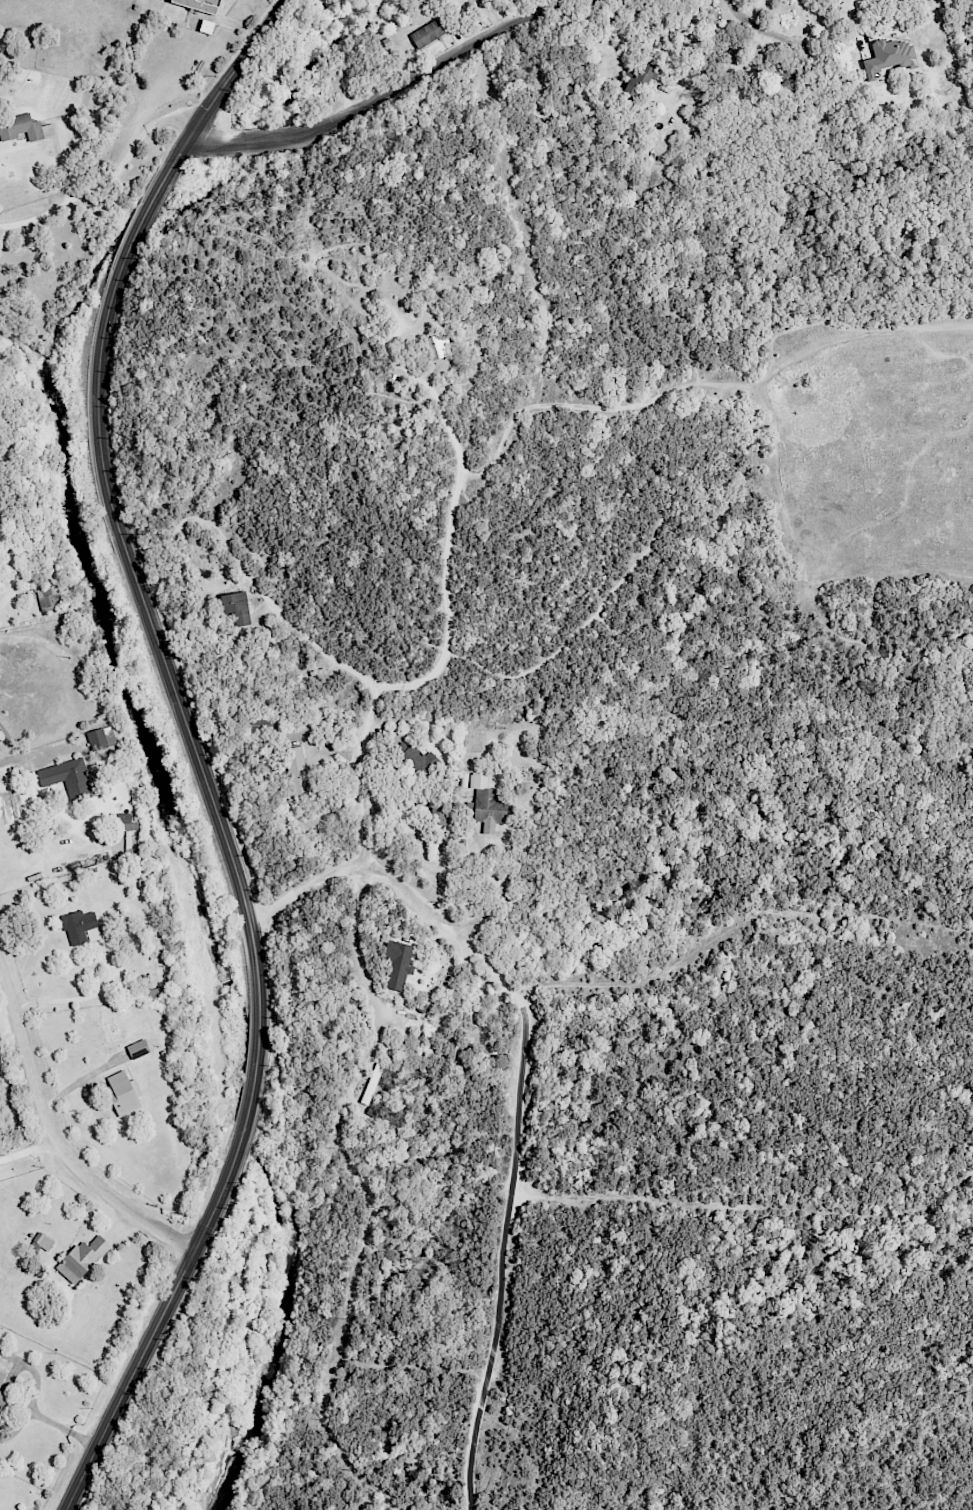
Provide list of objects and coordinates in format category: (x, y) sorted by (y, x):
building: (903, 2)
building: (199, 5)
road: (859, 24)
building: (206, 26)
building: (426, 34)
road: (705, 56)
building: (889, 59)
road: (440, 62)
building: (784, 78)
building: (638, 80)
road: (219, 91)
building: (24, 128)
road: (266, 139)
road: (208, 143)
road: (108, 180)
road: (138, 227)
building: (435, 347)
park: (603, 434)
building: (3, 500)
road: (221, 537)
building: (3, 554)
road: (10, 573)
building: (48, 598)
building: (235, 607)
road: (447, 648)
road: (161, 649)
building: (262, 725)
building: (101, 738)
road: (42, 752)
building: (414, 761)
building: (296, 767)
building: (71, 775)
building: (485, 801)
building: (125, 822)
road: (402, 887)
building: (85, 925)
road: (738, 927)
building: (397, 963)
road: (361, 970)
building: (371, 1082)
road: (253, 1088)
building: (128, 1090)
road: (53, 1136)
road: (28, 1148)
building: (42, 1242)
building: (86, 1255)
road: (503, 1259)
road: (155, 1329)
building: (6, 1385)
road: (66, 1430)

